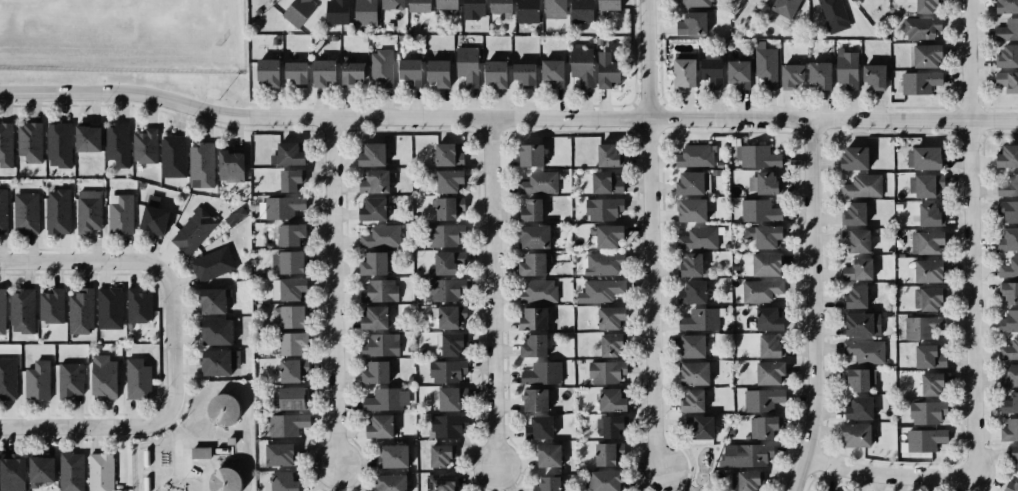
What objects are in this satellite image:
building: (695, 3)
building: (550, 4)
building: (605, 4)
building: (389, 5)
building: (416, 5)
building: (443, 5)
building: (498, 6)
building: (781, 6)
building: (923, 6)
building: (1004, 6)
building: (471, 8)
building: (296, 10)
building: (581, 11)
building: (334, 12)
building: (363, 12)
building: (527, 12)
building: (832, 12)
building: (690, 22)
building: (918, 27)
building: (1006, 29)
building: (924, 54)
building: (1004, 54)
building: (581, 66)
building: (843, 66)
building: (467, 67)
building: (765, 67)
building: (380, 68)
building: (790, 69)
building: (549, 70)
building: (604, 70)
building: (264, 71)
building: (407, 71)
building: (708, 71)
building: (735, 71)
building: (320, 72)
building: (436, 72)
building: (520, 73)
building: (870, 73)
building: (291, 74)
building: (349, 74)
building: (493, 74)
building: (678, 74)
building: (816, 74)
building: (917, 82)
building: (1005, 82)
road: (97, 92)
road: (605, 123)
building: (85, 138)
building: (5, 142)
building: (28, 142)
building: (57, 144)
building: (116, 145)
building: (142, 145)
building: (285, 151)
building: (368, 153)
building: (442, 153)
building: (604, 153)
building: (1004, 154)
building: (529, 155)
building: (692, 155)
building: (172, 156)
building: (754, 156)
building: (922, 156)
building: (851, 158)
building: (201, 162)
building: (229, 162)
building: (289, 180)
building: (373, 180)
building: (445, 181)
building: (537, 181)
building: (602, 181)
building: (685, 181)
building: (759, 181)
building: (861, 184)
building: (924, 185)
building: (1007, 186)
building: (445, 207)
building: (602, 207)
building: (283, 208)
building: (369, 208)
building: (529, 208)
building: (688, 208)
building: (56, 210)
building: (2, 211)
building: (25, 211)
building: (757, 211)
building: (1005, 211)
building: (87, 212)
building: (851, 212)
building: (926, 212)
building: (119, 214)
building: (150, 217)
building: (192, 229)
building: (761, 234)
building: (290, 235)
building: (444, 235)
building: (531, 235)
building: (601, 235)
road: (650, 235)
building: (379, 236)
building: (694, 237)
road: (970, 239)
building: (1006, 239)
building: (854, 241)
building: (926, 241)
road: (78, 259)
building: (211, 261)
building: (289, 261)
building: (447, 261)
building: (530, 262)
building: (761, 262)
building: (374, 263)
building: (686, 263)
building: (600, 264)
building: (855, 268)
building: (1007, 268)
building: (926, 270)
building: (287, 288)
building: (377, 289)
building: (444, 289)
building: (757, 289)
building: (538, 291)
building: (601, 291)
building: (690, 291)
building: (1007, 291)
road: (334, 293)
building: (852, 296)
road: (490, 298)
building: (210, 300)
building: (926, 300)
building: (139, 303)
building: (53, 305)
building: (110, 307)
road: (812, 308)
building: (3, 310)
building: (82, 310)
building: (22, 311)
building: (289, 316)
building: (370, 316)
building: (448, 316)
building: (607, 316)
building: (698, 317)
building: (764, 317)
building: (531, 318)
building: (1007, 321)
building: (860, 323)
building: (915, 327)
building: (215, 331)
road: (172, 340)
building: (291, 342)
building: (450, 343)
building: (608, 344)
building: (687, 344)
building: (765, 344)
building: (378, 345)
building: (531, 345)
building: (1008, 349)
building: (862, 352)
building: (919, 355)
building: (218, 361)
building: (291, 370)
building: (765, 371)
building: (373, 372)
building: (446, 372)
building: (540, 372)
building: (601, 372)
building: (688, 372)
building: (8, 376)
building: (100, 376)
building: (137, 376)
building: (1008, 376)
building: (35, 378)
building: (68, 378)
building: (856, 378)
building: (927, 383)
building: (289, 397)
building: (383, 398)
building: (446, 398)
building: (532, 399)
building: (760, 399)
building: (609, 400)
building: (689, 400)
building: (1008, 402)
building: (856, 406)
building: (221, 411)
building: (921, 412)
building: (287, 424)
building: (377, 425)
building: (446, 425)
building: (538, 425)
building: (700, 425)
road: (80, 426)
building: (610, 426)
building: (760, 426)
building: (1008, 428)
building: (854, 434)
building: (924, 438)
building: (198, 453)
building: (277, 453)
building: (601, 453)
building: (392, 455)
building: (437, 455)
building: (546, 455)
building: (747, 455)
building: (1011, 456)
building: (38, 467)
park: (697, 467)
building: (71, 470)
building: (99, 471)
building: (10, 472)
road: (886, 475)
building: (600, 480)
building: (279, 481)
building: (437, 481)
building: (745, 481)
building: (224, 482)
building: (389, 483)
building: (547, 483)
building: (1010, 485)
park: (647, 490)

